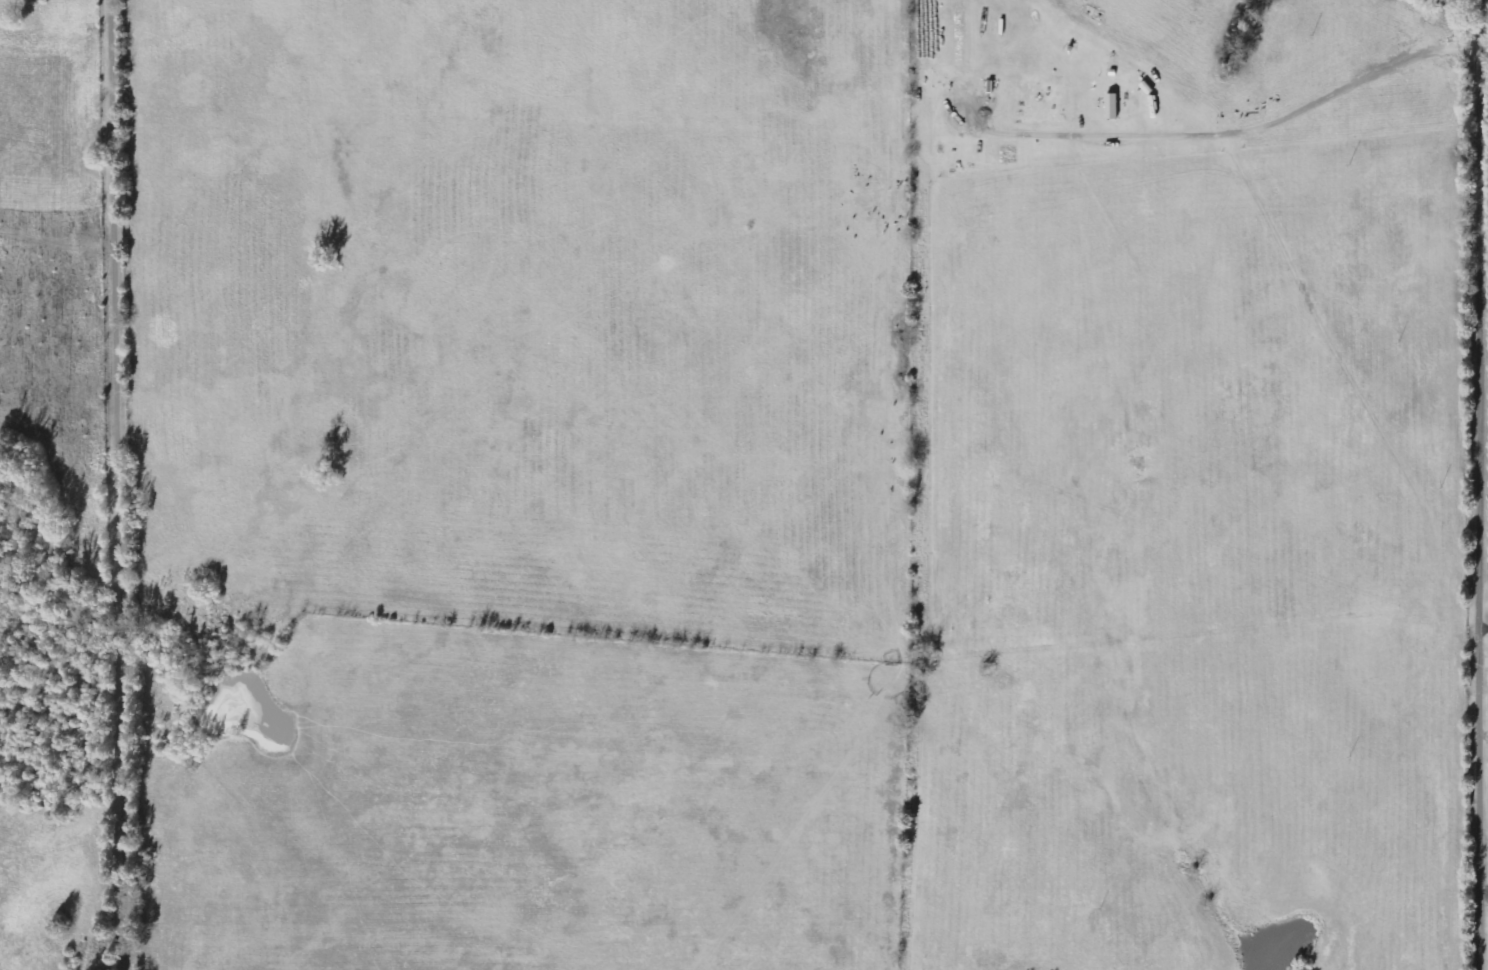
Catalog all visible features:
building: (1114, 107)
road: (1487, 255)
road: (125, 485)

